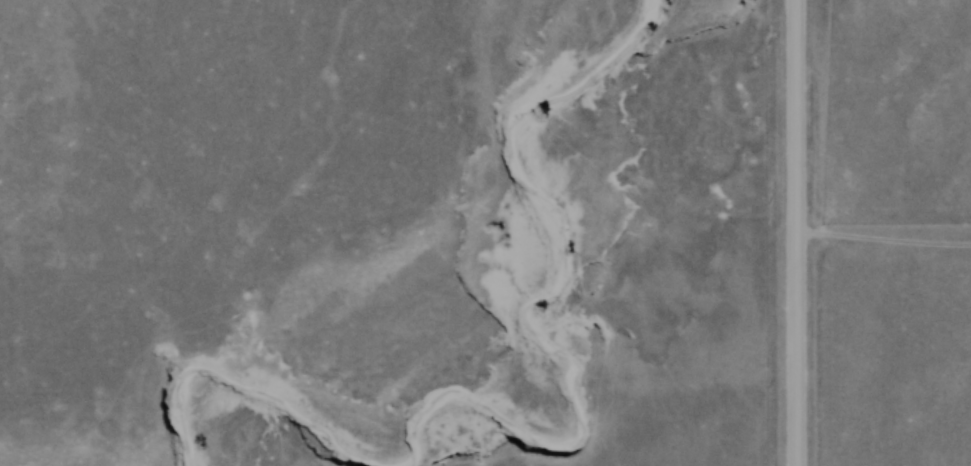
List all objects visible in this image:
road: (792, 232)

